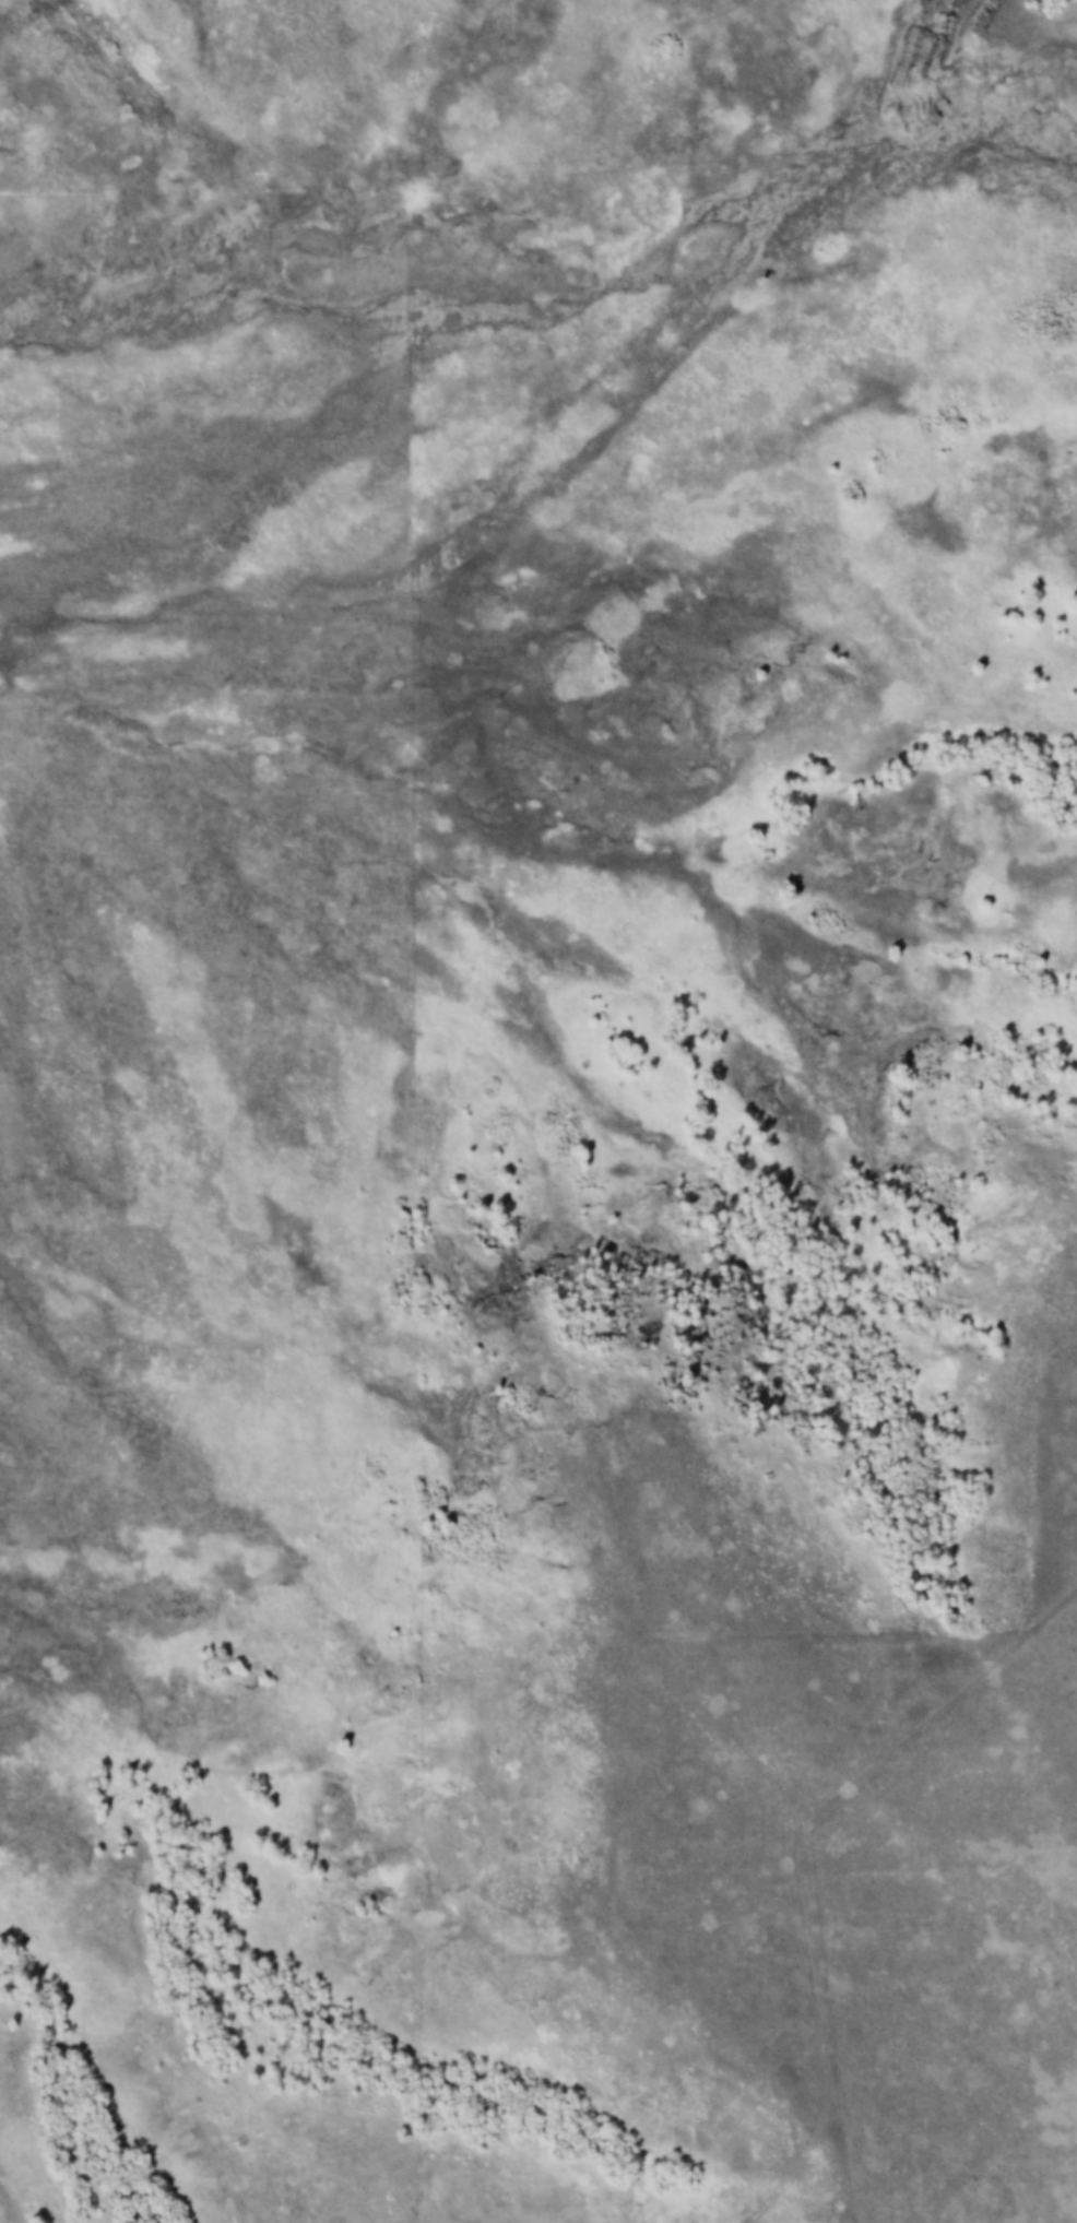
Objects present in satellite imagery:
road: (58, 1174)

